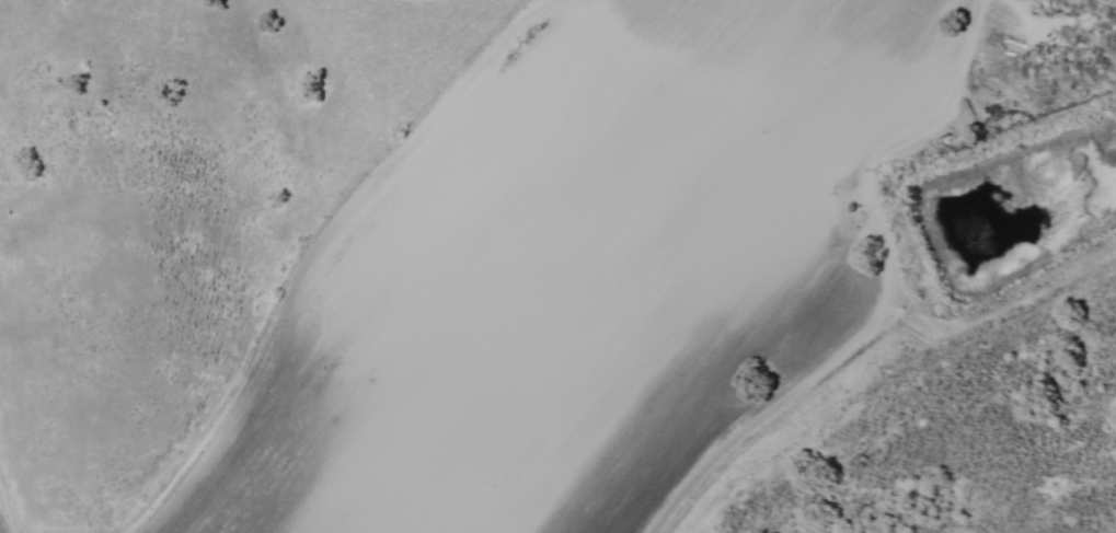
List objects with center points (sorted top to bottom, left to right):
crop: (578, 274)
road: (882, 291)

